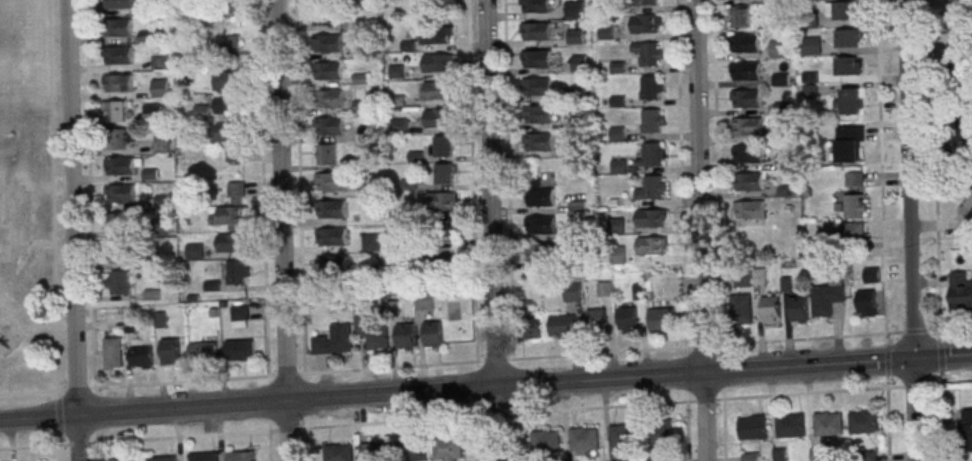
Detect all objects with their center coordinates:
building: (647, 2)
building: (118, 4)
building: (229, 5)
building: (535, 5)
building: (963, 7)
building: (572, 8)
building: (845, 10)
building: (326, 16)
building: (740, 16)
building: (810, 19)
building: (644, 24)
building: (117, 28)
building: (534, 30)
building: (605, 32)
building: (437, 34)
building: (574, 36)
building: (847, 38)
building: (744, 42)
building: (327, 44)
building: (810, 45)
building: (232, 47)
building: (778, 48)
building: (648, 54)
building: (117, 56)
building: (535, 58)
building: (437, 62)
building: (578, 63)
building: (961, 63)
building: (846, 66)
building: (328, 71)
building: (745, 71)
building: (225, 82)
building: (119, 84)
building: (537, 86)
building: (159, 87)
building: (649, 87)
building: (437, 90)
building: (746, 98)
building: (328, 99)
building: (850, 100)
building: (225, 104)
building: (117, 111)
building: (538, 113)
building: (151, 114)
building: (438, 118)
building: (651, 120)
building: (747, 125)
building: (398, 126)
building: (329, 127)
building: (227, 131)
building: (367, 132)
building: (779, 132)
building: (968, 137)
building: (114, 139)
building: (538, 141)
building: (849, 143)
building: (442, 146)
building: (748, 153)
building: (325, 154)
building: (651, 154)
building: (233, 155)
road: (934, 164)
road: (880, 166)
building: (120, 167)
road: (717, 172)
building: (443, 173)
road: (681, 174)
building: (854, 179)
road: (507, 180)
road: (472, 181)
building: (748, 181)
building: (330, 183)
road: (299, 187)
building: (652, 187)
road: (262, 188)
road: (90, 194)
building: (121, 194)
road: (52, 196)
building: (539, 197)
building: (440, 201)
building: (967, 202)
building: (577, 205)
road: (1, 206)
building: (853, 206)
building: (233, 207)
building: (749, 208)
building: (331, 210)
building: (650, 218)
building: (122, 222)
building: (540, 224)
building: (616, 226)
building: (447, 229)
road: (73, 230)
road: (282, 230)
road: (491, 230)
road: (700, 230)
building: (849, 230)
road: (908, 230)
building: (332, 238)
road: (9, 240)
road: (31, 241)
building: (231, 242)
building: (371, 242)
building: (651, 246)
building: (117, 251)
building: (195, 251)
building: (539, 252)
building: (616, 255)
building: (448, 257)
building: (333, 266)
building: (236, 272)
building: (871, 275)
building: (750, 277)
building: (118, 282)
building: (605, 288)
building: (960, 290)
building: (573, 292)
building: (826, 297)
building: (424, 302)
building: (865, 303)
building: (740, 309)
building: (770, 309)
building: (798, 309)
building: (596, 318)
building: (628, 319)
building: (662, 319)
road: (36, 325)
building: (563, 325)
street lamp: (936, 327)
road: (948, 328)
building: (531, 329)
road: (914, 330)
building: (372, 331)
building: (433, 334)
road: (939, 335)
building: (405, 337)
road: (886, 339)
building: (334, 340)
building: (239, 348)
building: (203, 349)
building: (170, 351)
building: (113, 352)
building: (142, 357)
road: (940, 358)
traffic signals: (912, 359)
road: (887, 361)
road: (452, 364)
road: (887, 381)
street lamp: (947, 382)
road: (933, 384)
road: (913, 385)
road: (486, 388)
road: (685, 402)
road: (96, 416)
road: (496, 416)
road: (941, 417)
road: (413, 421)
building: (863, 421)
building: (828, 424)
road: (887, 424)
road: (59, 426)
building: (790, 426)
building: (752, 427)
road: (289, 429)
road: (724, 430)
building: (966, 430)
road: (687, 431)
building: (661, 434)
building: (584, 439)
road: (135, 441)
building: (620, 441)
building: (545, 442)
building: (447, 448)
building: (412, 450)
building: (374, 451)
road: (96, 452)
building: (338, 452)
building: (240, 455)
building: (778, 455)
building: (819, 455)
building: (204, 456)
building: (750, 456)
building: (163, 458)
building: (129, 459)
building: (656, 459)

